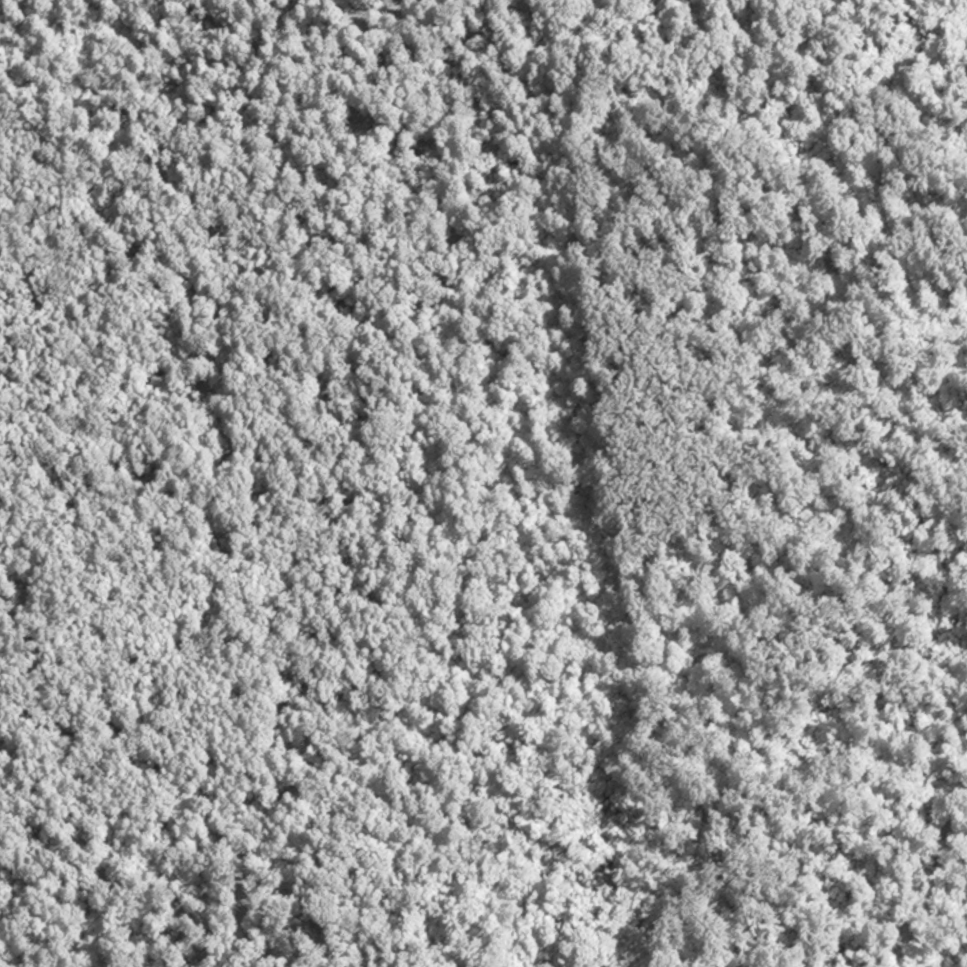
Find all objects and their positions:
road: (962, 137)

